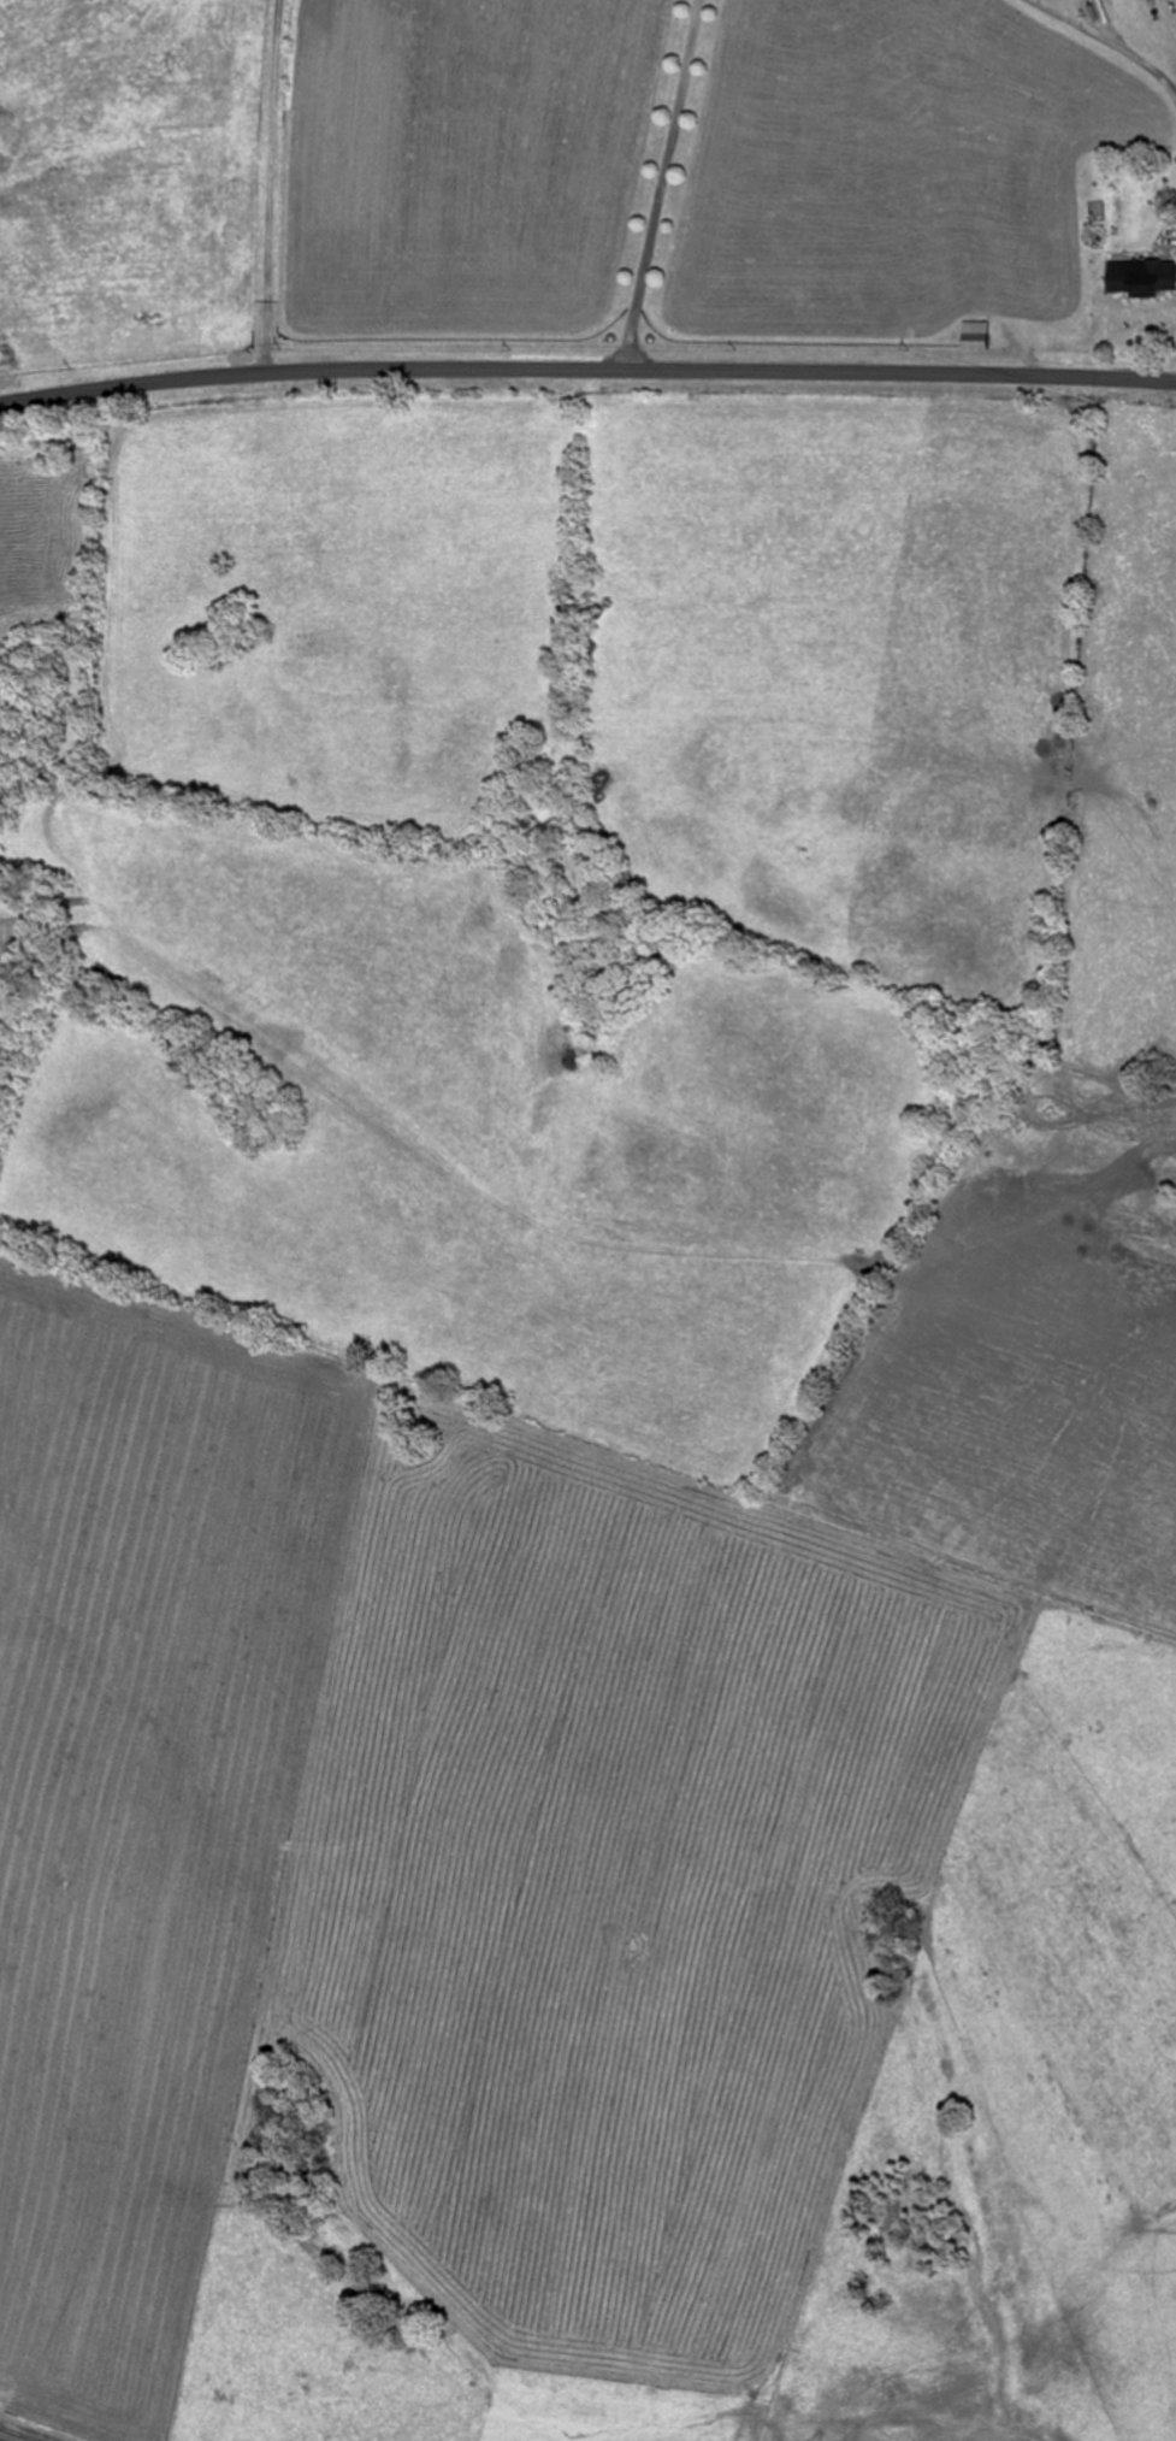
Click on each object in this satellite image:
road: (1111, 39)
road: (661, 184)
building: (1140, 276)
building: (974, 335)
road: (586, 370)

